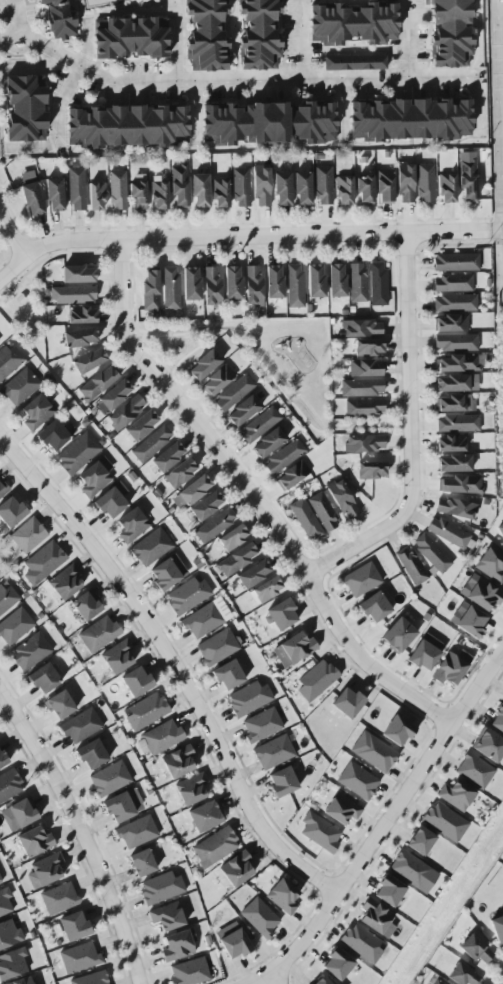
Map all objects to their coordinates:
road: (18, 18)
building: (59, 19)
building: (353, 24)
building: (450, 33)
building: (206, 35)
building: (259, 35)
road: (22, 37)
building: (129, 38)
road: (408, 38)
road: (302, 39)
building: (354, 63)
road: (253, 79)
road: (501, 91)
building: (25, 108)
building: (411, 120)
building: (268, 123)
building: (127, 126)
road: (58, 130)
building: (466, 177)
building: (405, 183)
building: (425, 183)
building: (179, 184)
building: (323, 185)
building: (261, 186)
building: (384, 186)
building: (240, 187)
building: (302, 188)
building: (446, 188)
building: (76, 189)
building: (282, 189)
building: (364, 189)
building: (117, 190)
building: (343, 190)
building: (199, 191)
building: (158, 193)
building: (219, 193)
building: (30, 194)
building: (54, 194)
building: (96, 196)
building: (137, 196)
road: (10, 233)
road: (494, 233)
road: (236, 237)
building: (455, 262)
building: (77, 274)
building: (336, 280)
building: (315, 281)
building: (232, 282)
building: (273, 282)
building: (356, 282)
building: (452, 283)
building: (190, 284)
building: (377, 284)
building: (252, 285)
building: (294, 285)
building: (211, 286)
building: (170, 288)
building: (150, 291)
building: (72, 294)
building: (455, 303)
building: (81, 315)
building: (450, 323)
building: (360, 328)
building: (79, 337)
building: (455, 342)
building: (368, 347)
building: (88, 360)
building: (9, 361)
building: (457, 363)
building: (203, 365)
road: (406, 365)
building: (366, 368)
building: (216, 380)
building: (97, 383)
building: (452, 383)
building: (20, 386)
building: (361, 387)
building: (233, 393)
building: (113, 396)
building: (454, 403)
building: (364, 406)
building: (242, 411)
building: (36, 412)
building: (125, 412)
building: (457, 423)
building: (141, 425)
building: (259, 425)
building: (52, 435)
building: (151, 443)
building: (267, 443)
building: (363, 443)
building: (451, 443)
building: (77, 453)
building: (167, 456)
building: (283, 457)
building: (453, 463)
building: (371, 470)
building: (180, 473)
building: (291, 475)
building: (93, 479)
building: (460, 484)
building: (2, 490)
building: (190, 492)
road: (252, 498)
building: (342, 499)
building: (112, 500)
building: (206, 506)
building: (455, 508)
building: (10, 512)
building: (323, 512)
building: (304, 519)
building: (131, 525)
building: (214, 525)
building: (500, 529)
building: (447, 532)
building: (28, 535)
building: (232, 537)
road: (361, 541)
building: (150, 547)
building: (431, 553)
building: (237, 559)
building: (42, 562)
building: (490, 565)
building: (410, 566)
building: (167, 572)
building: (253, 574)
building: (360, 579)
building: (65, 582)
building: (265, 590)
building: (480, 593)
building: (186, 595)
building: (7, 598)
building: (85, 606)
building: (373, 607)
building: (280, 615)
building: (205, 618)
building: (471, 622)
building: (14, 625)
building: (98, 634)
building: (398, 635)
building: (216, 646)
building: (293, 649)
building: (30, 651)
building: (425, 651)
building: (117, 656)
road: (174, 664)
building: (451, 667)
building: (227, 674)
building: (43, 679)
building: (316, 680)
building: (136, 682)
building: (248, 698)
building: (347, 702)
building: (59, 705)
building: (145, 710)
building: (497, 719)
building: (261, 724)
building: (80, 726)
building: (397, 730)
building: (162, 737)
building: (488, 744)
building: (273, 752)
building: (373, 752)
building: (90, 754)
building: (3, 759)
building: (177, 761)
building: (474, 770)
building: (109, 779)
building: (281, 782)
building: (357, 782)
building: (9, 785)
building: (190, 789)
building: (455, 795)
building: (123, 805)
building: (341, 811)
building: (17, 815)
building: (204, 816)
building: (444, 821)
road: (386, 825)
road: (82, 831)
building: (136, 832)
building: (320, 834)
building: (420, 840)
building: (34, 841)
building: (214, 847)
building: (141, 863)
building: (236, 869)
building: (45, 870)
building: (412, 872)
building: (0, 882)
building: (160, 888)
building: (389, 893)
building: (282, 896)
building: (58, 898)
building: (4, 902)
building: (166, 916)
building: (259, 917)
building: (376, 918)
building: (73, 926)
building: (497, 930)
building: (9, 934)
building: (232, 941)
building: (361, 944)
building: (177, 945)
building: (475, 949)
building: (78, 958)
building: (12, 964)
building: (337, 964)
building: (188, 972)
building: (462, 975)
building: (90, 978)
building: (321, 980)
building: (21, 981)
building: (436, 982)

